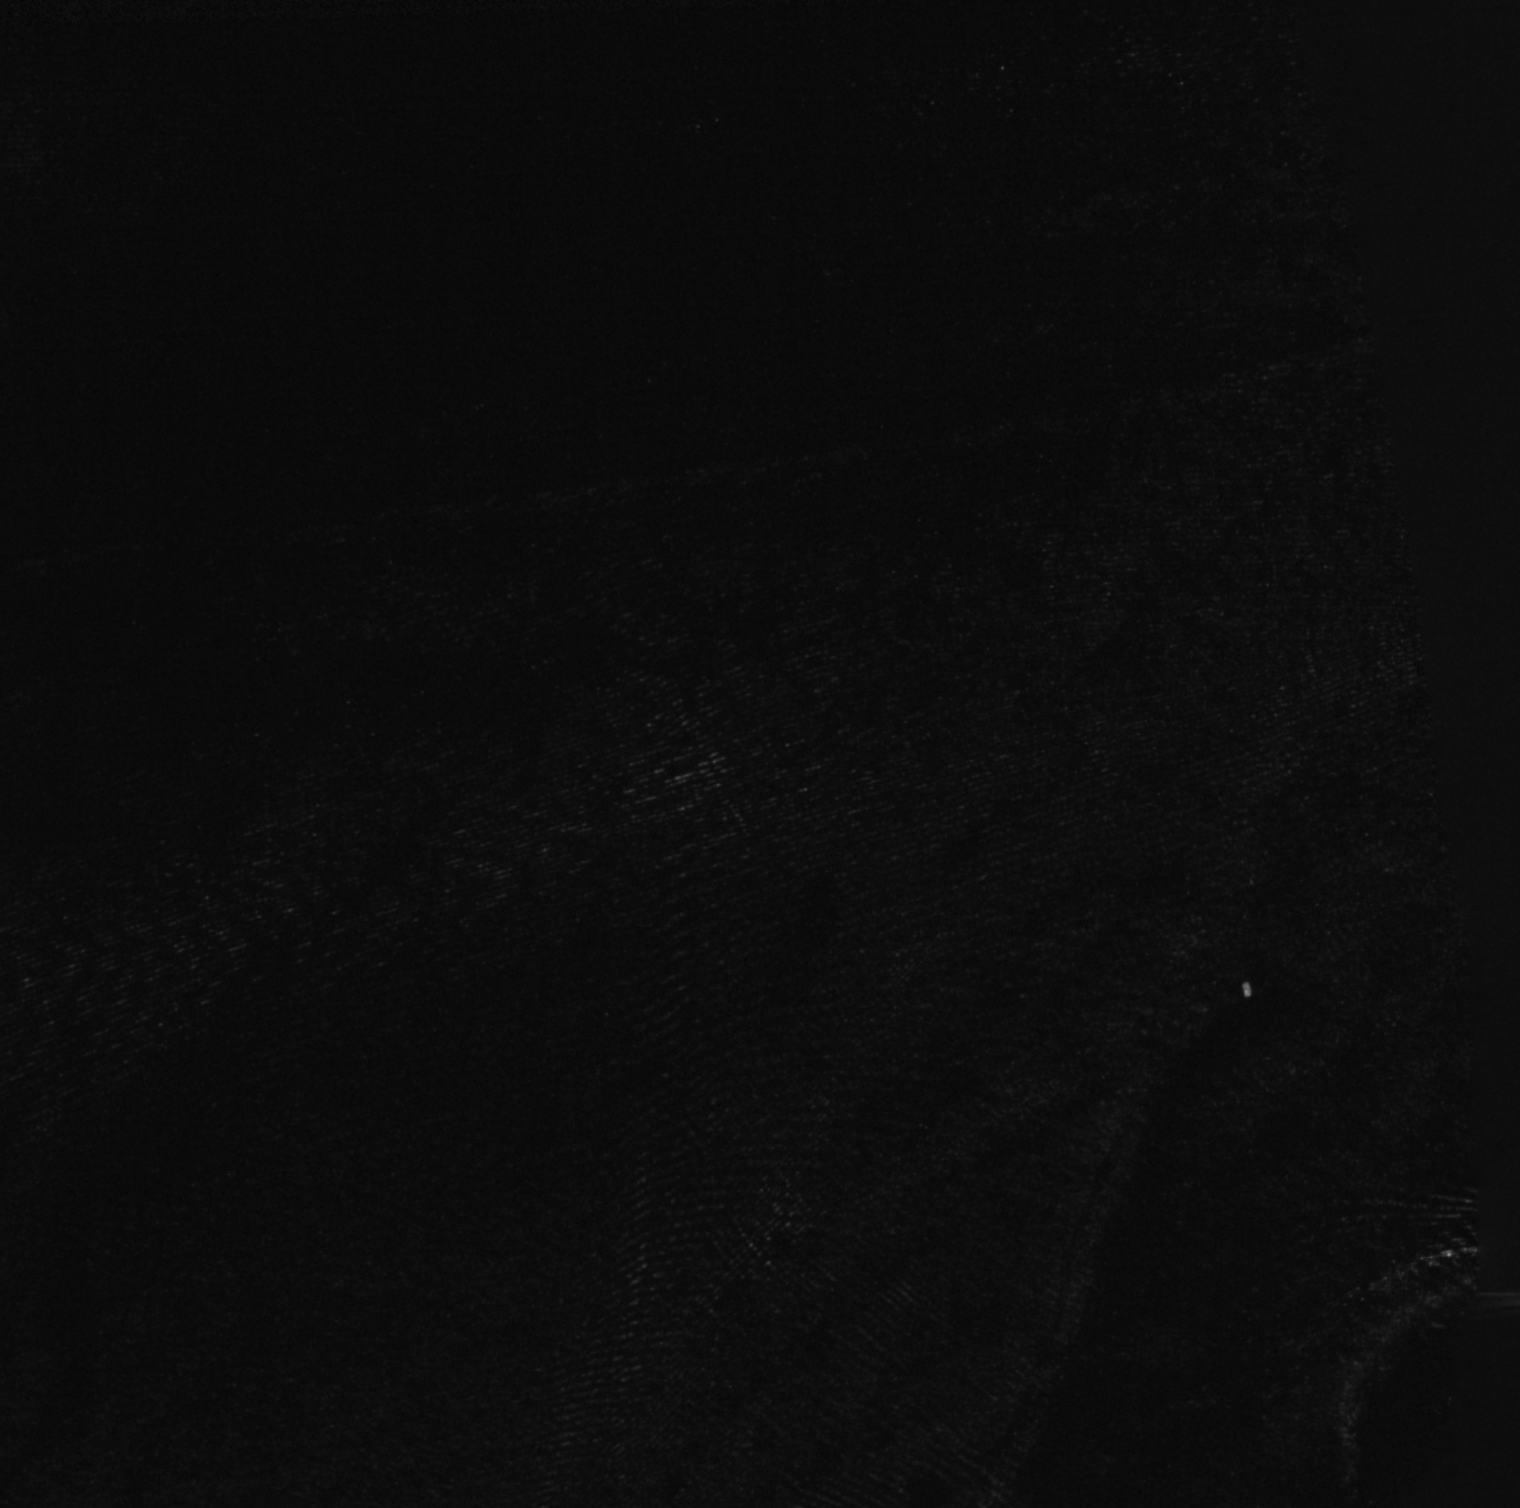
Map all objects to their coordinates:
river: (760, 949)

